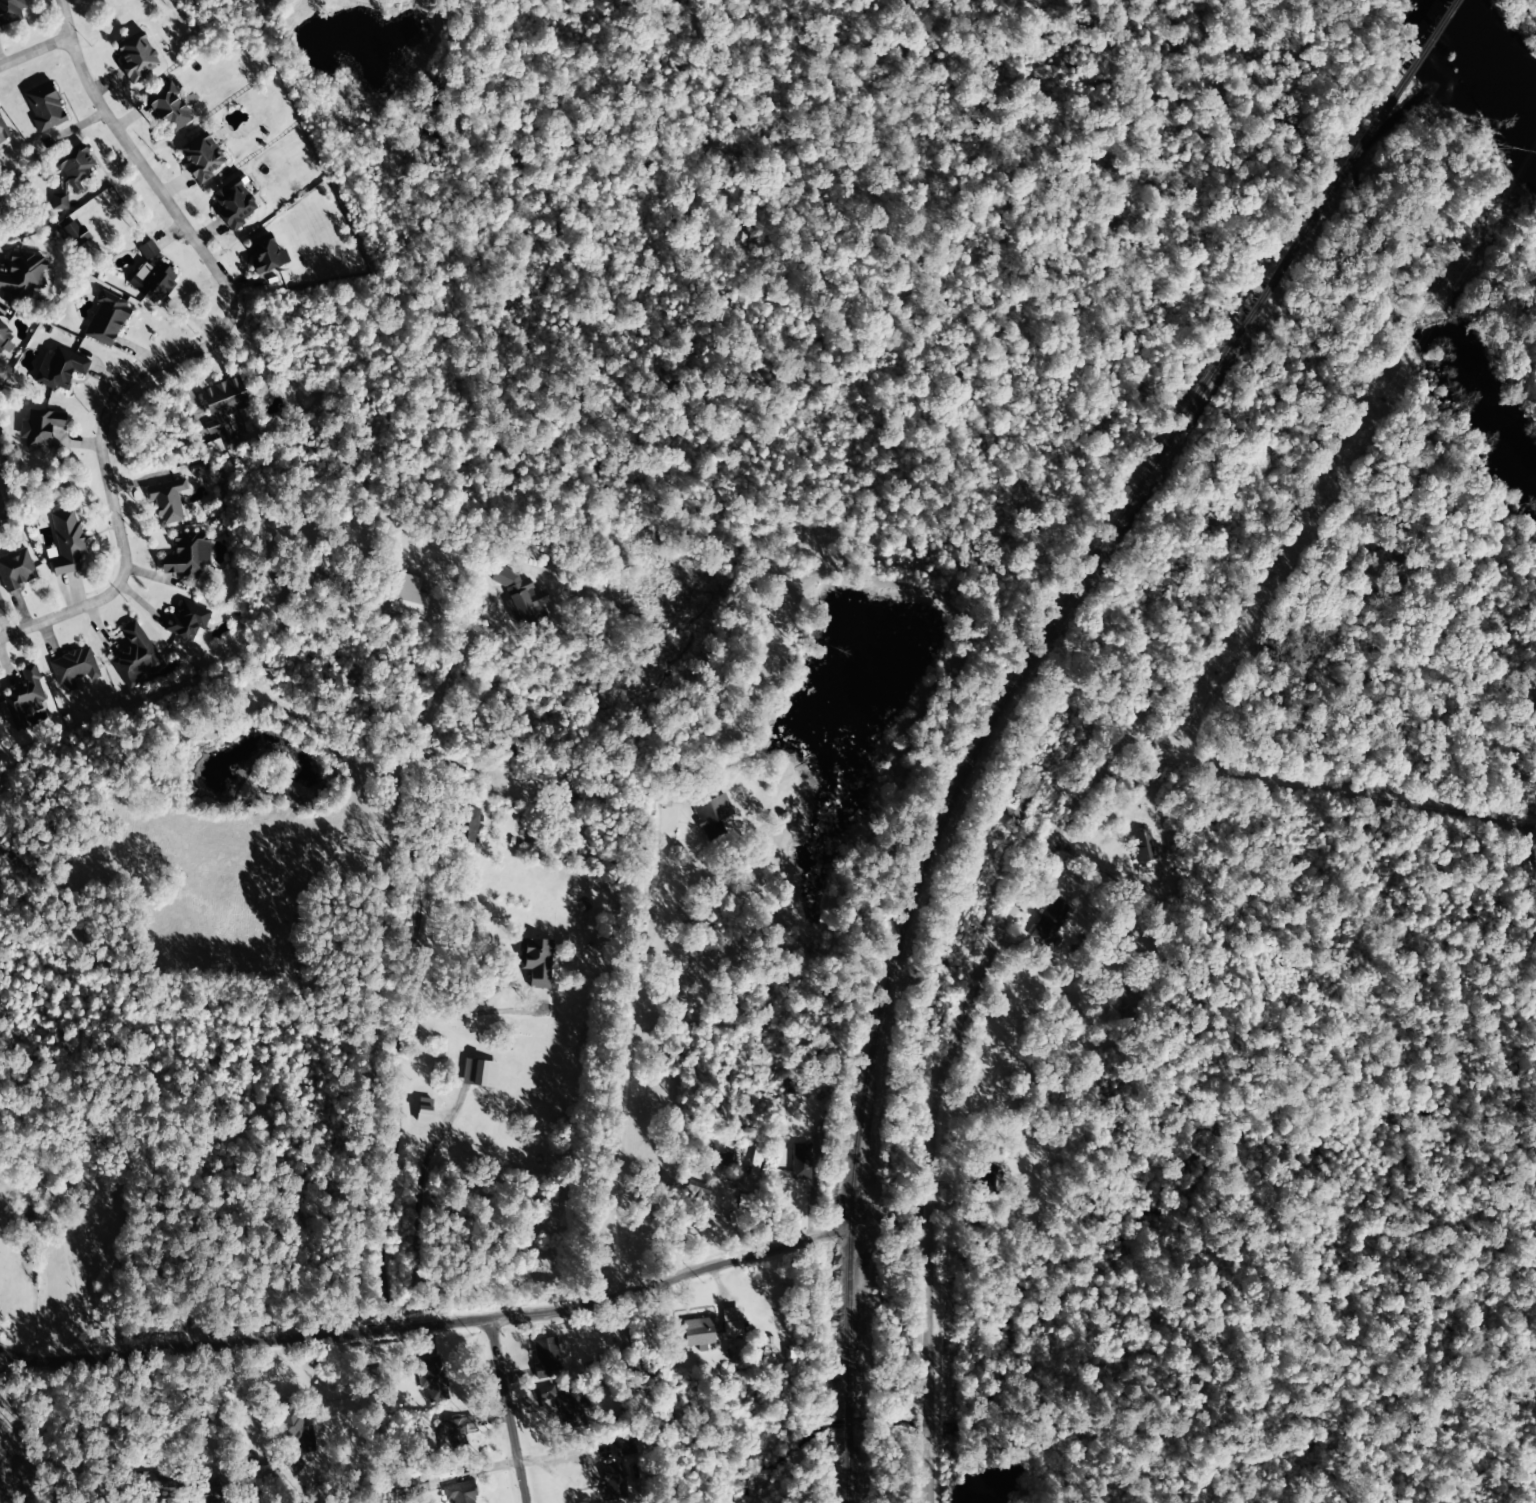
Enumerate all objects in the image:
building: (10, 11)
building: (0, 30)
road: (34, 54)
building: (135, 57)
building: (44, 108)
building: (167, 108)
building: (3, 132)
building: (200, 158)
railway: (1344, 172)
building: (70, 175)
building: (233, 205)
building: (74, 234)
building: (147, 250)
building: (265, 257)
building: (22, 275)
building: (152, 282)
building: (106, 320)
building: (4, 336)
road: (193, 351)
building: (59, 369)
building: (224, 410)
building: (39, 427)
building: (166, 500)
building: (66, 543)
building: (187, 556)
building: (15, 570)
building: (408, 597)
building: (521, 598)
building: (186, 620)
building: (135, 657)
building: (72, 668)
building: (23, 698)
road: (1090, 777)
building: (1010, 809)
building: (711, 815)
building: (467, 825)
railway: (934, 837)
building: (1143, 847)
building: (1047, 922)
building: (535, 962)
road: (333, 1044)
building: (479, 1073)
road: (619, 1073)
building: (791, 1087)
road: (1076, 1090)
building: (423, 1111)
building: (728, 1161)
building: (800, 1162)
building: (986, 1176)
building: (695, 1193)
road: (471, 1321)
building: (731, 1322)
building: (698, 1333)
building: (546, 1356)
road: (926, 1358)
building: (432, 1379)
building: (565, 1407)
road: (517, 1409)
road: (38, 1427)
building: (294, 1427)
railway: (846, 1430)
building: (453, 1434)
railway: (845, 1480)
building: (157, 1482)
building: (611, 1483)
building: (414, 1486)
building: (459, 1493)
building: (205, 1495)

